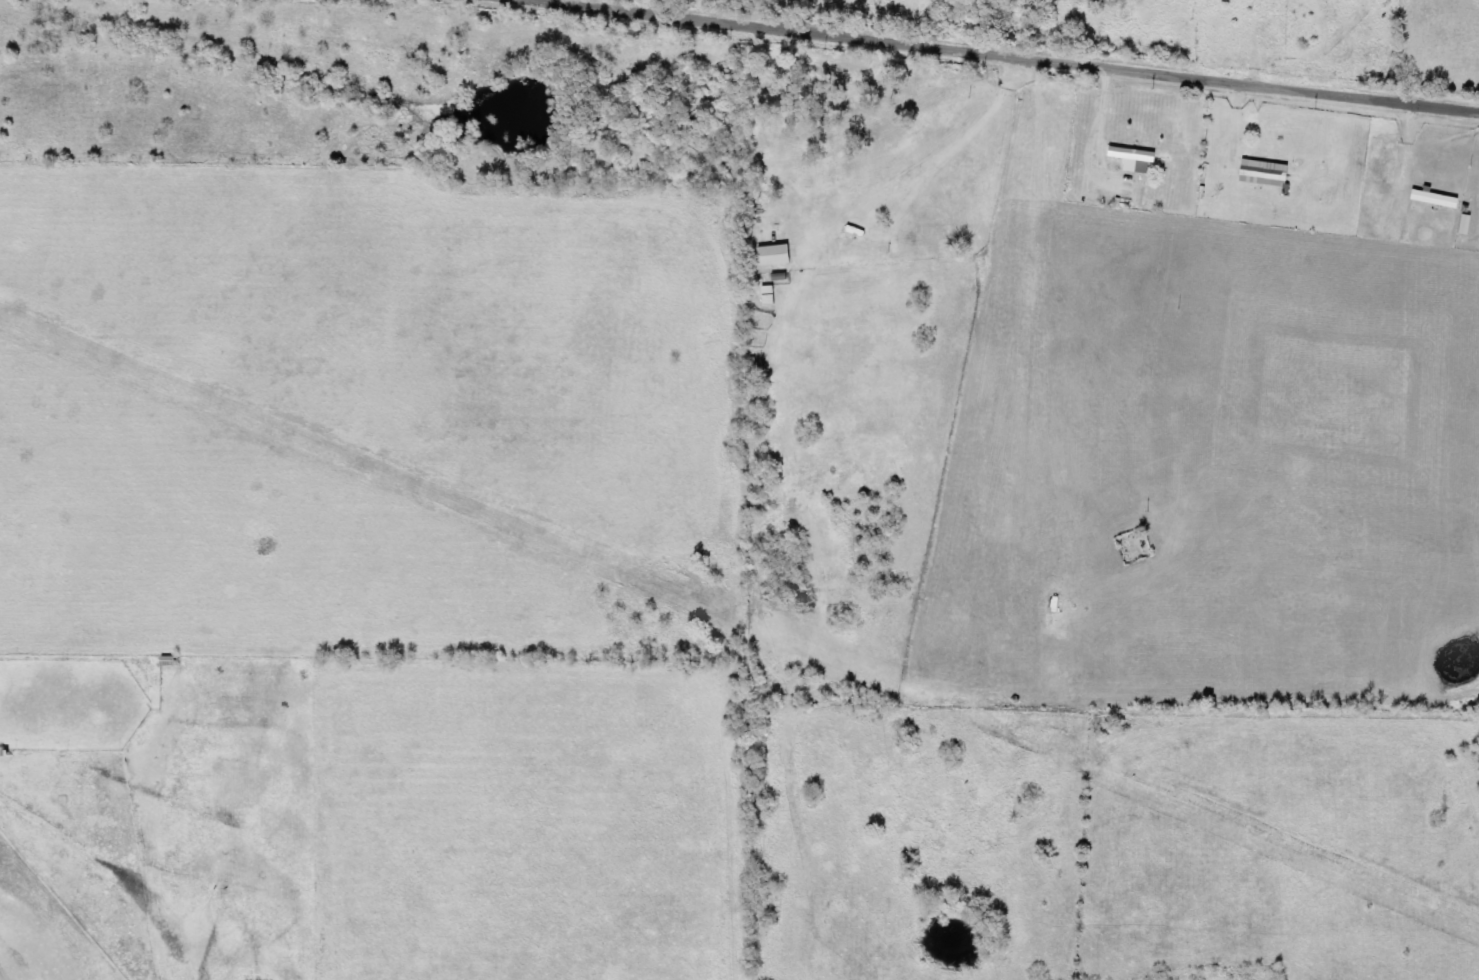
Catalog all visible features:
road: (976, 60)
building: (1137, 157)
building: (1268, 172)
building: (1440, 199)
building: (1470, 224)
building: (780, 256)

